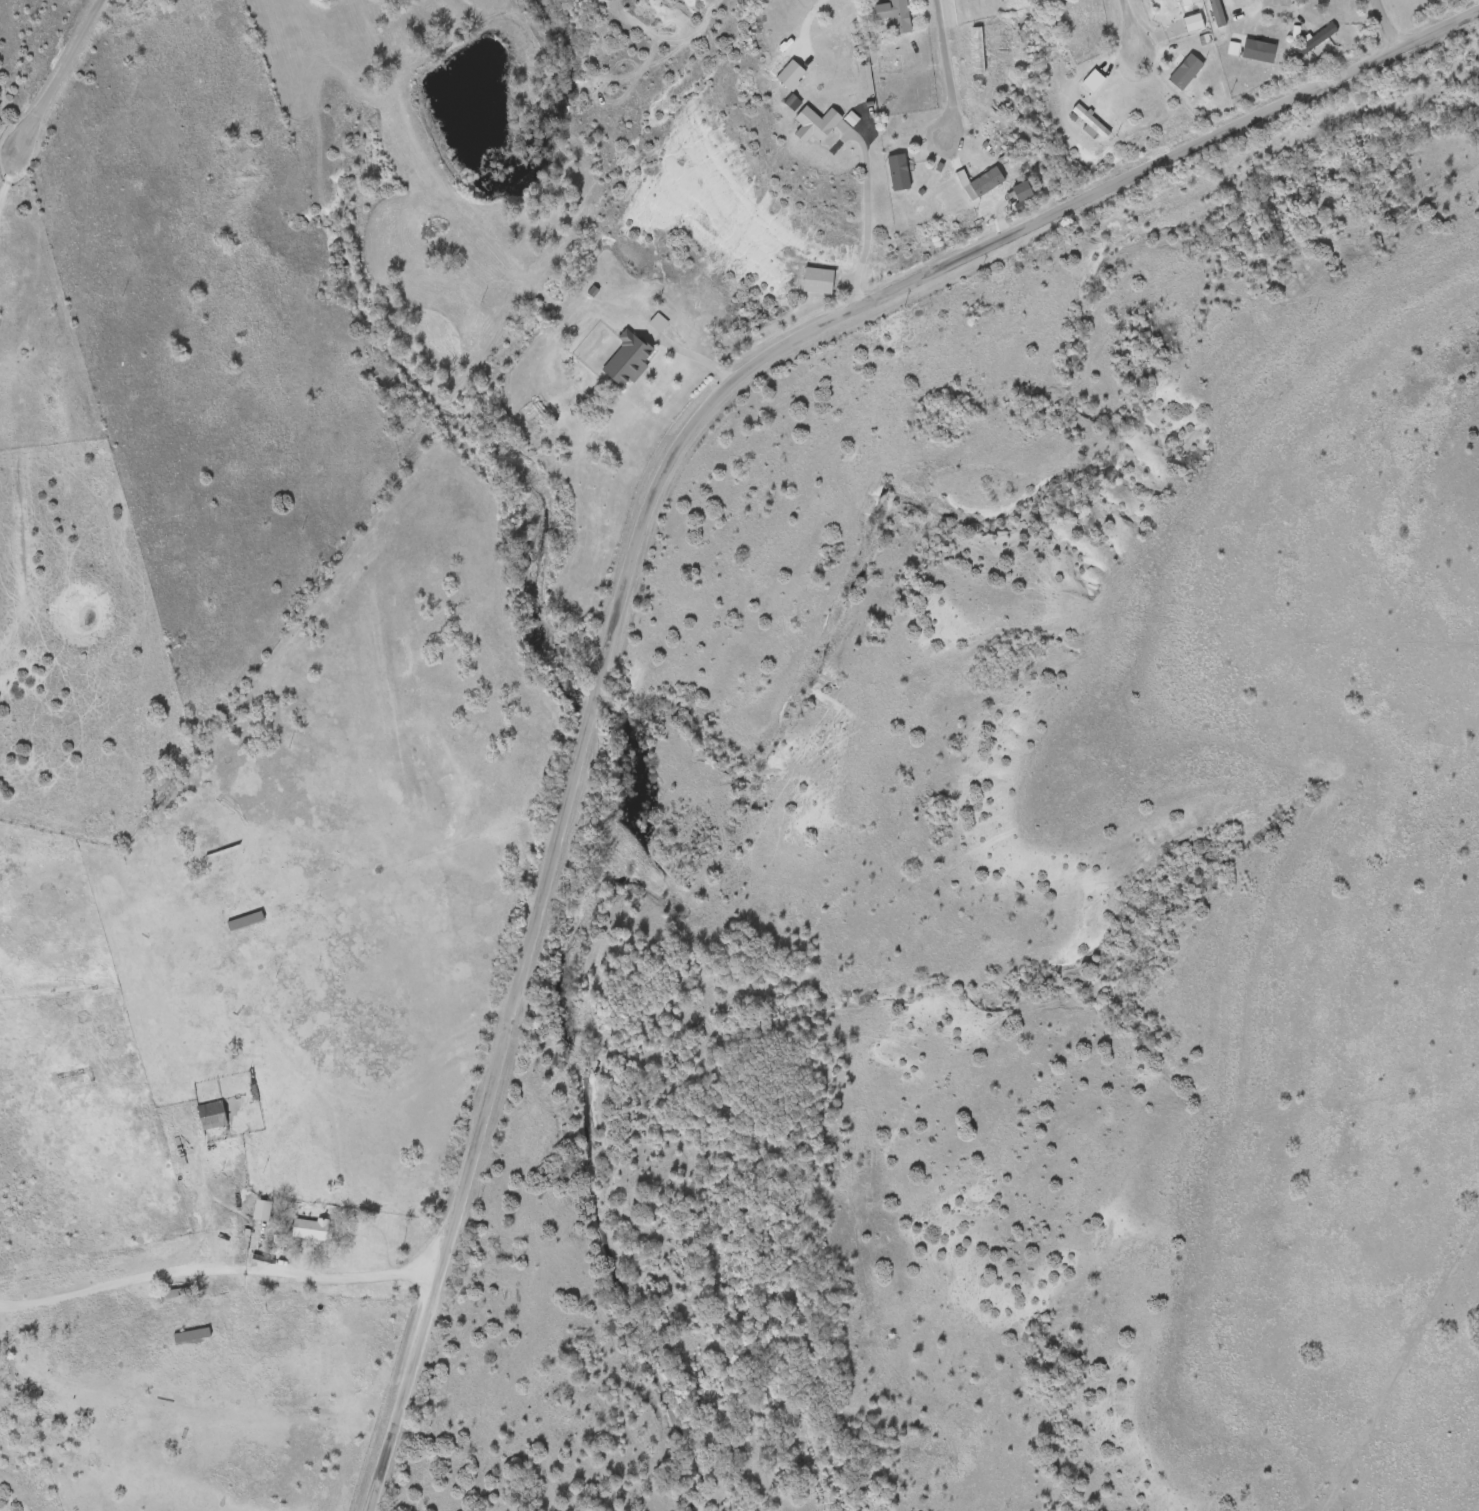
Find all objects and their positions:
building: (1185, 2)
building: (1216, 12)
building: (893, 14)
building: (1192, 22)
road: (804, 23)
road: (1382, 24)
road: (1128, 25)
building: (1315, 38)
building: (1258, 50)
road: (943, 71)
building: (1185, 71)
road: (55, 76)
building: (817, 121)
building: (1090, 121)
building: (898, 171)
road: (7, 174)
building: (987, 181)
road: (866, 212)
building: (817, 279)
road: (691, 352)
building: (627, 358)
road: (636, 530)
building: (244, 920)
road: (136, 933)
building: (73, 1080)
building: (211, 1113)
building: (261, 1208)
building: (311, 1227)
road: (215, 1268)
building: (190, 1333)
road: (83, 1386)

